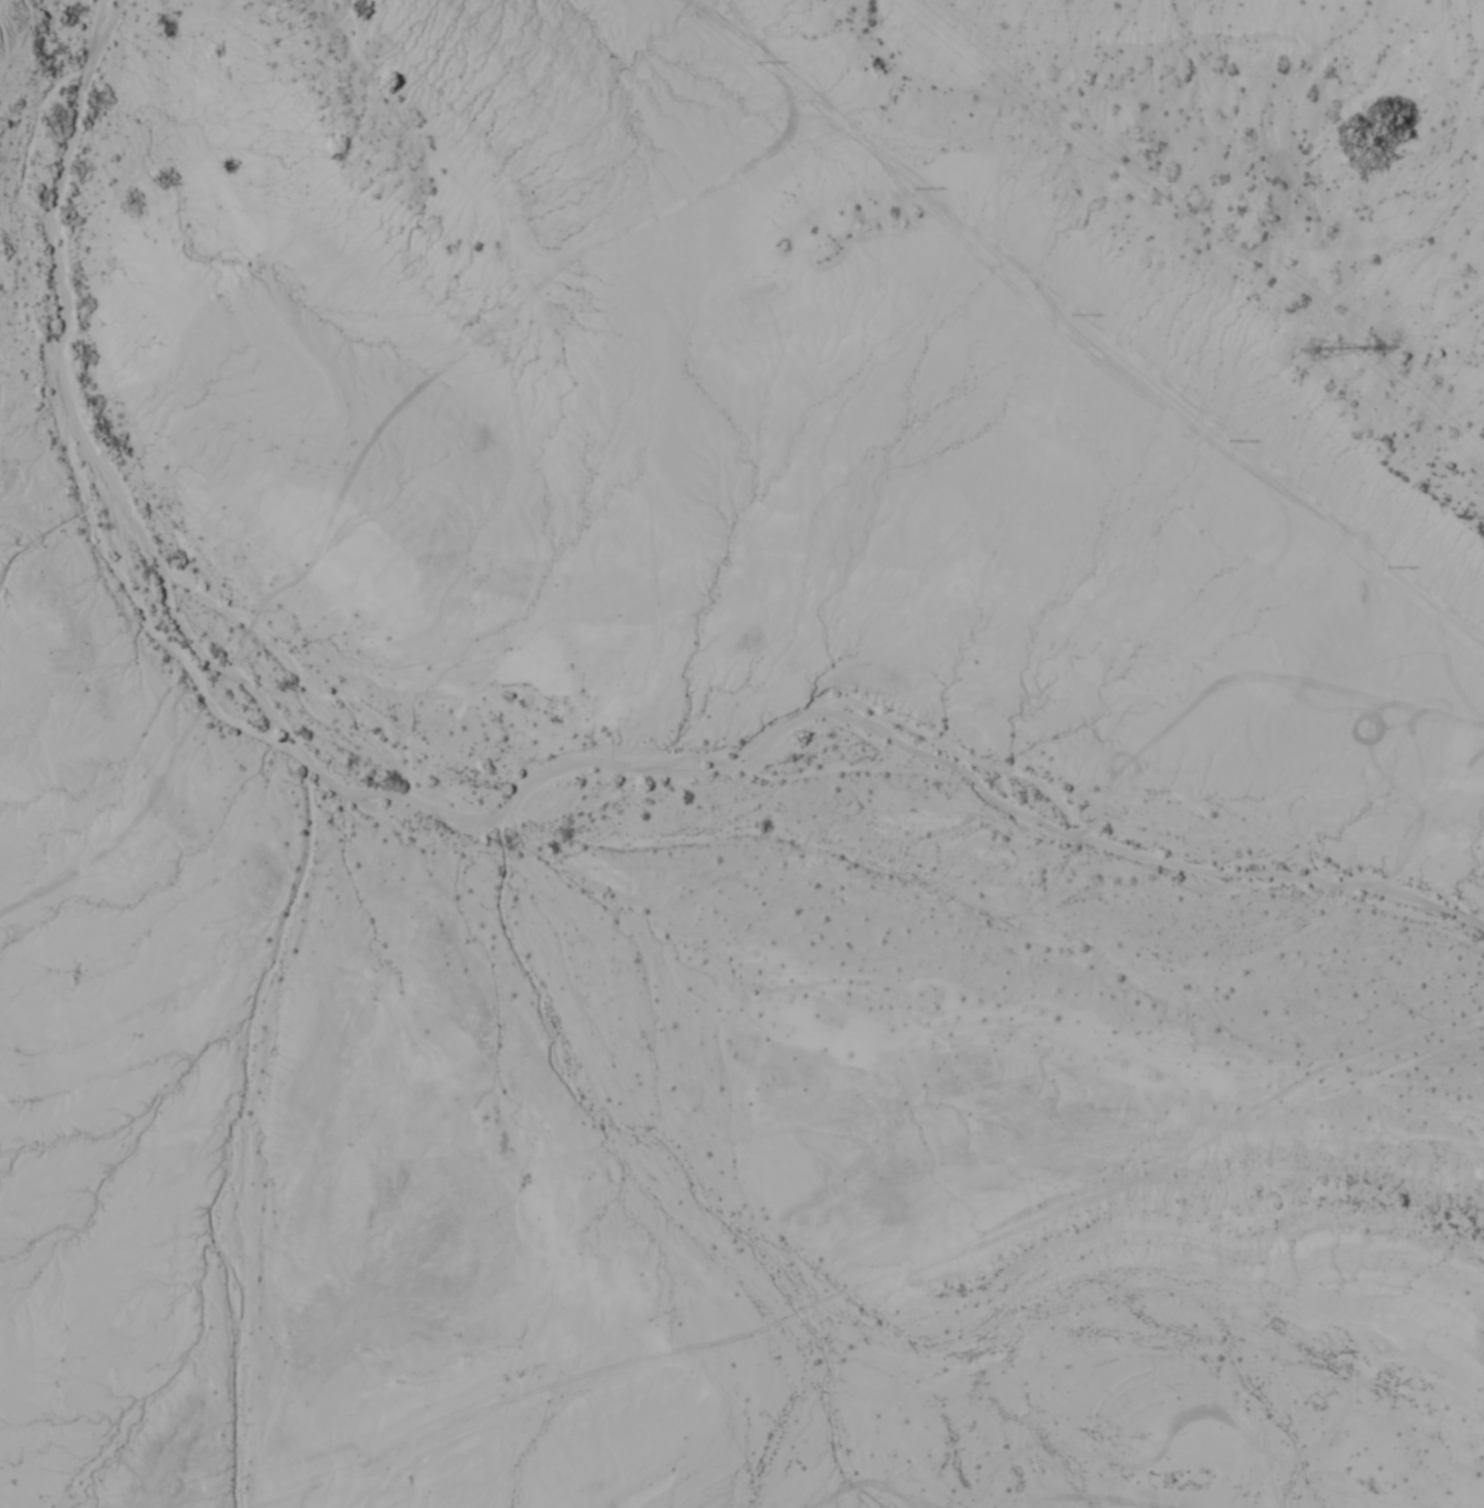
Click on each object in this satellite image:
power tower: (1317, 358)

